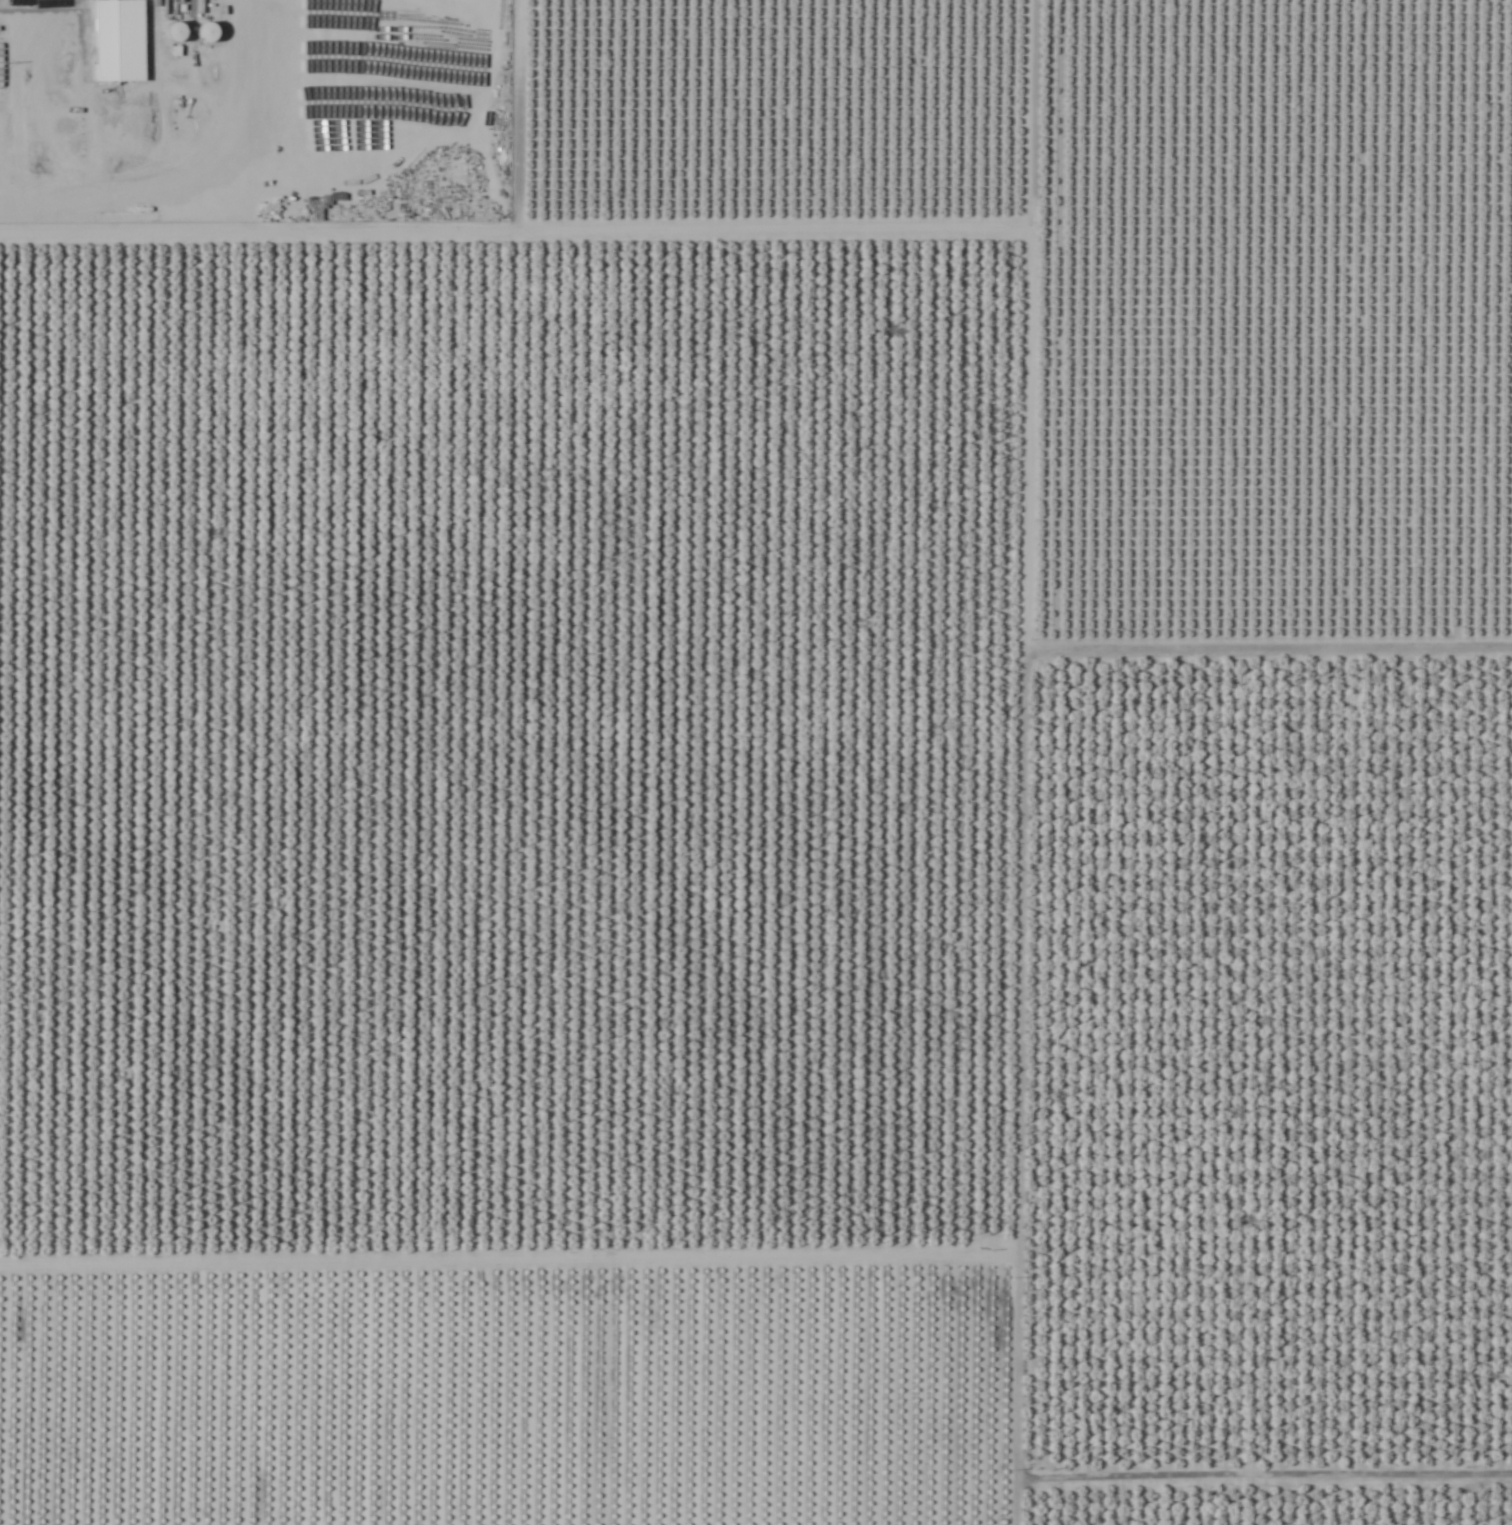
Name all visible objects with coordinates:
building: (121, 4)
building: (497, 70)
building: (497, 95)
road: (232, 162)
crop: (756, 762)

